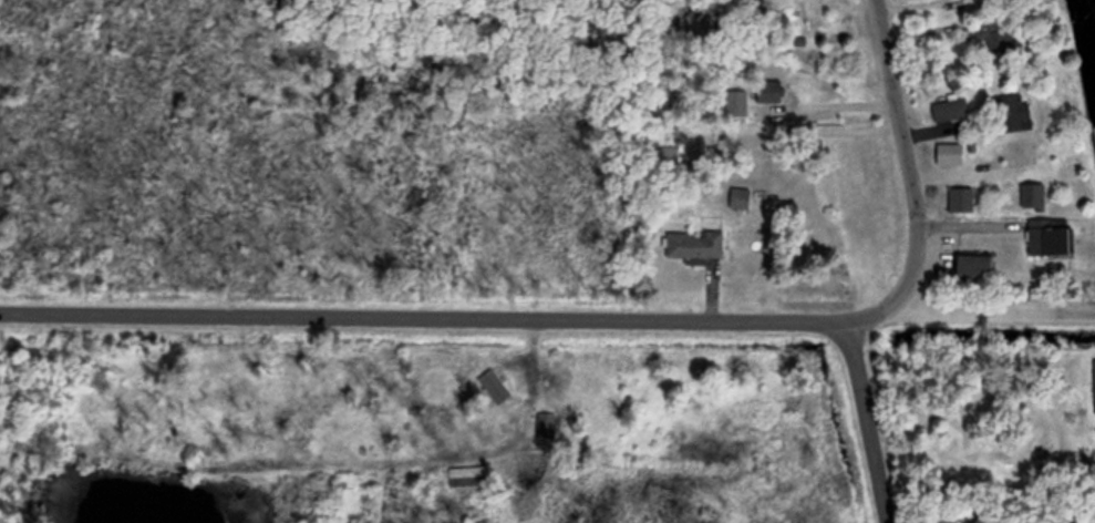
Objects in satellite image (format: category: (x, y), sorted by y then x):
building: (984, 31)
building: (764, 89)
building: (948, 107)
building: (1012, 111)
building: (1016, 151)
building: (947, 152)
road: (902, 157)
building: (737, 196)
building: (959, 197)
building: (1044, 235)
building: (692, 244)
building: (969, 264)
road: (994, 315)
road: (420, 317)
road: (868, 320)
building: (1094, 381)
road: (515, 382)
building: (494, 386)
building: (545, 422)
road: (861, 422)
road: (581, 457)
building: (466, 474)

